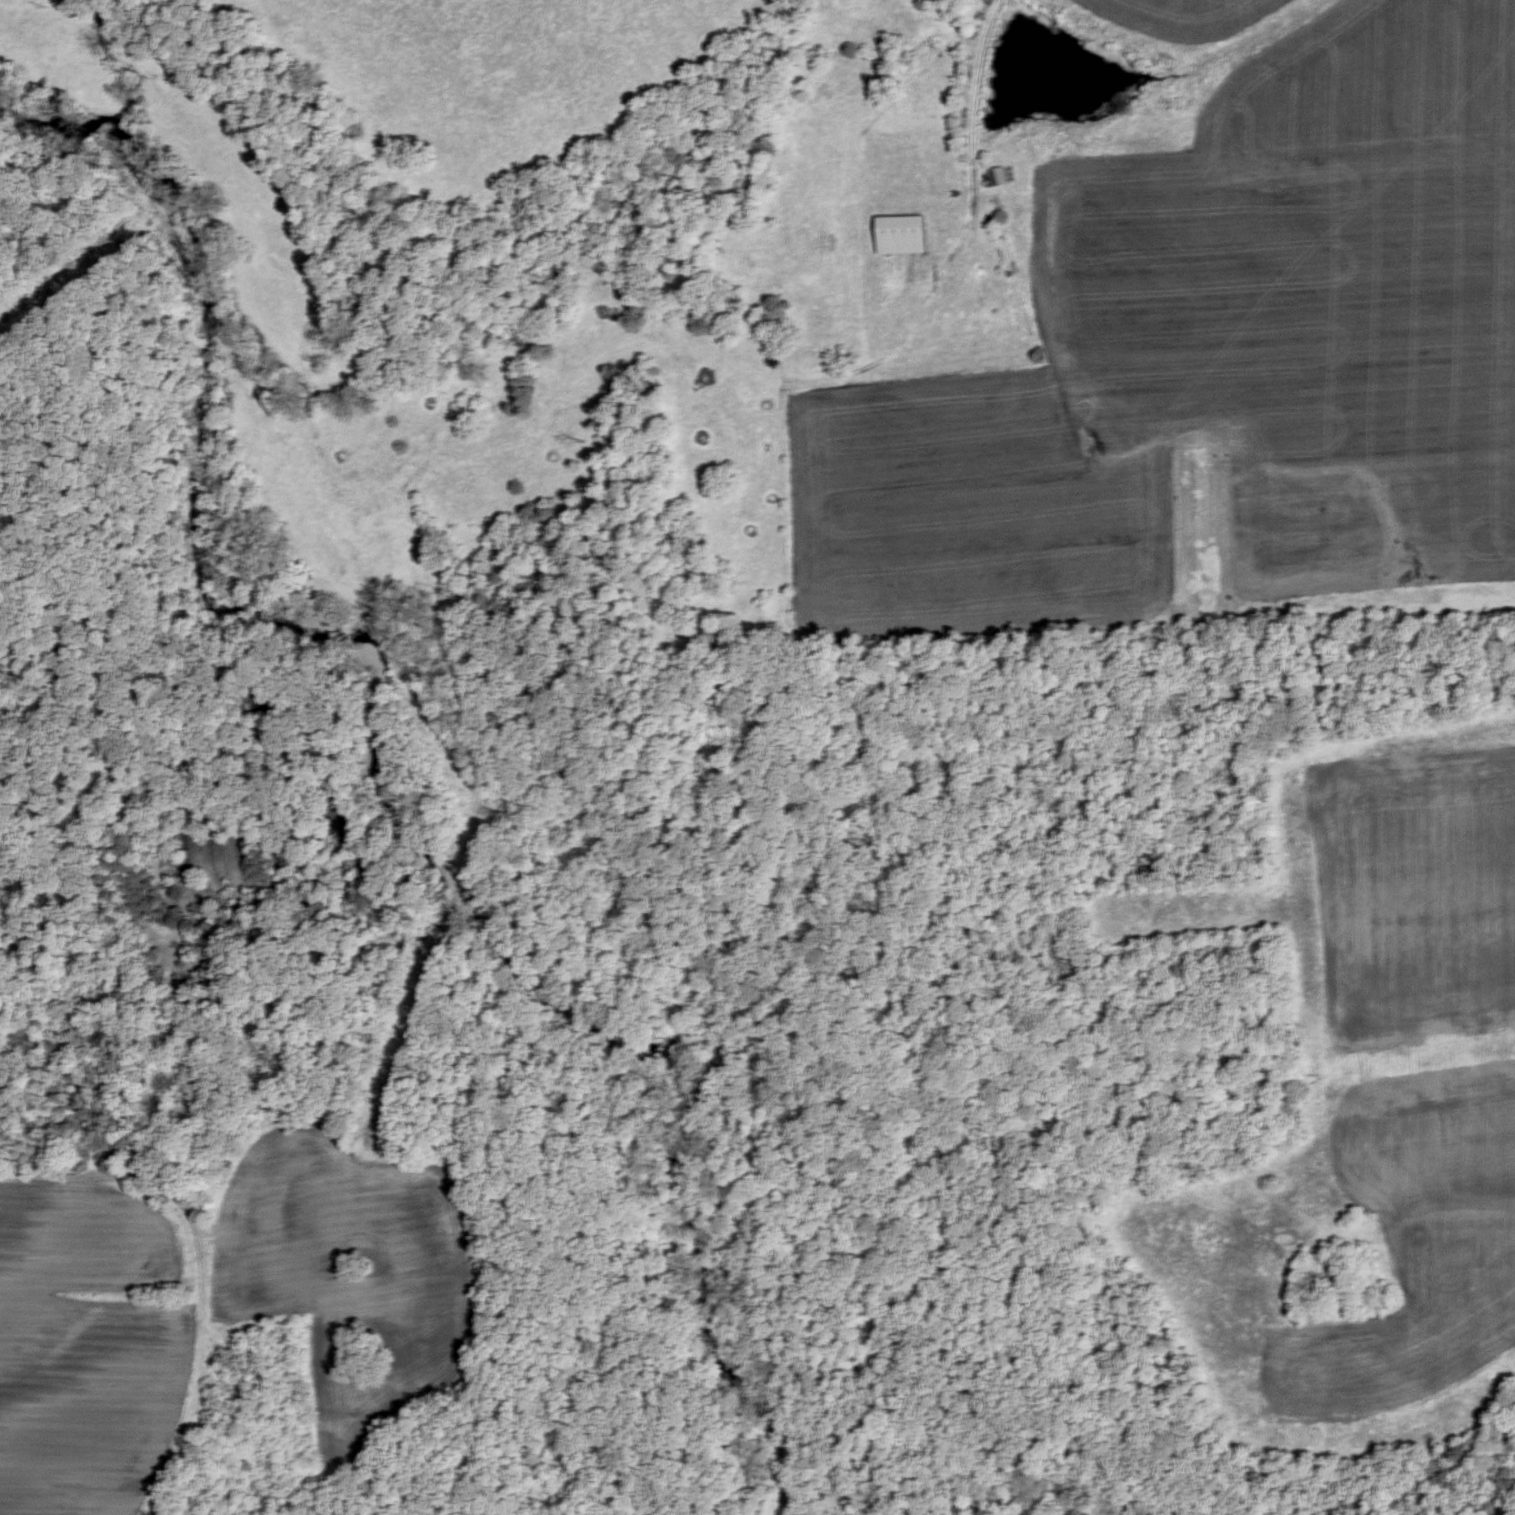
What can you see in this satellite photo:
road: (978, 105)
building: (1001, 178)
building: (909, 237)
road: (165, 1189)
building: (256, 1361)

